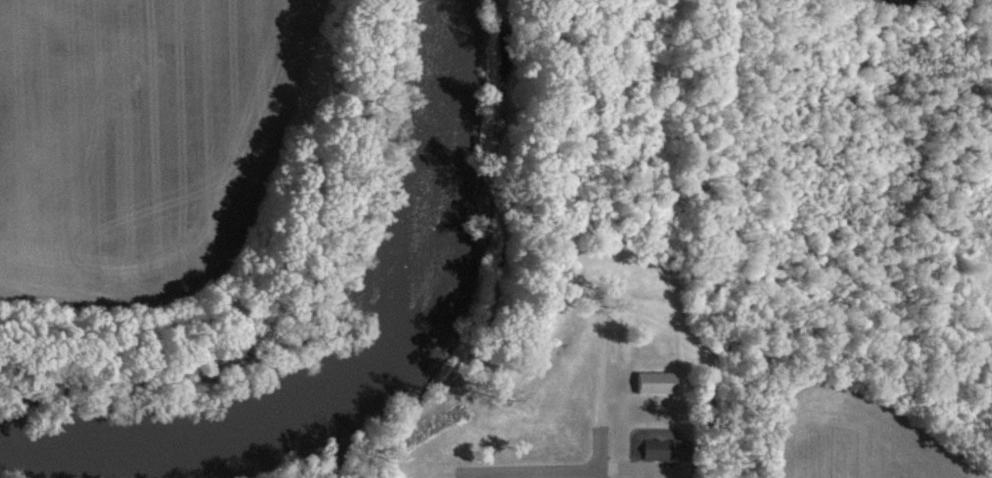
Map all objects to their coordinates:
road: (267, 274)
river: (358, 365)
building: (658, 391)
building: (668, 458)
road: (527, 472)
road: (597, 474)

